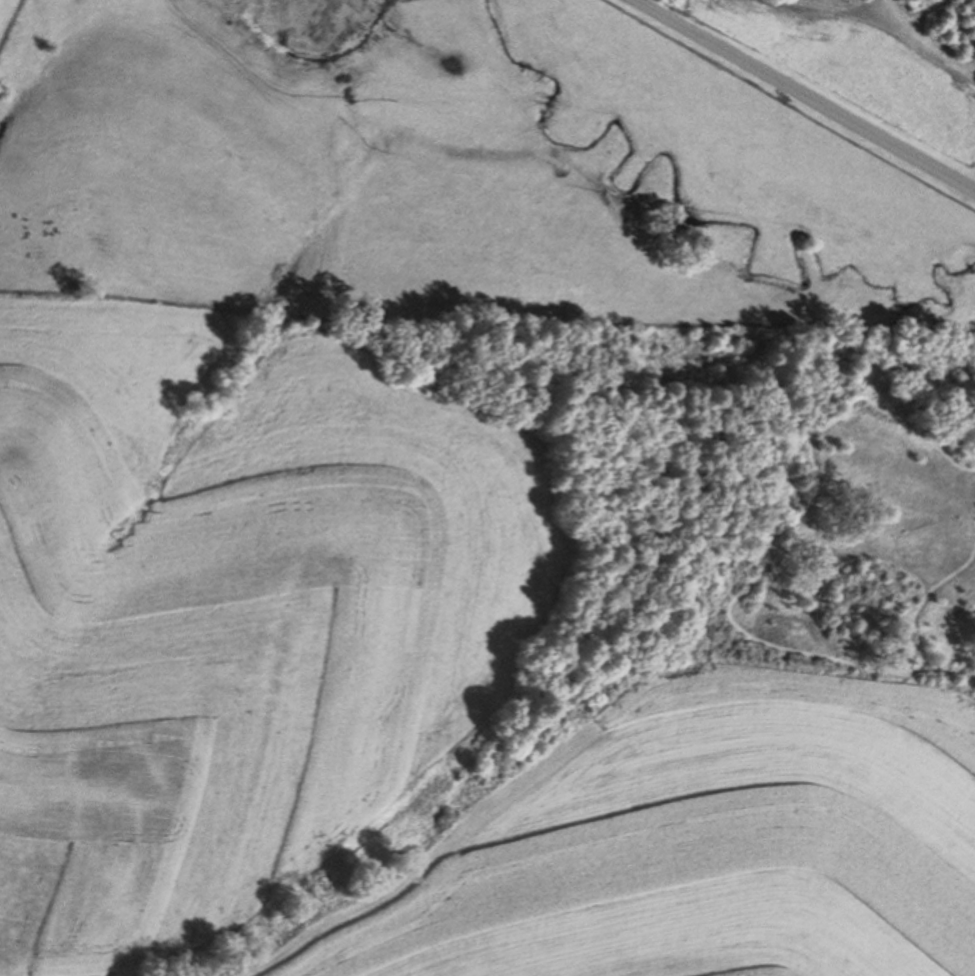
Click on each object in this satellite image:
road: (804, 96)

